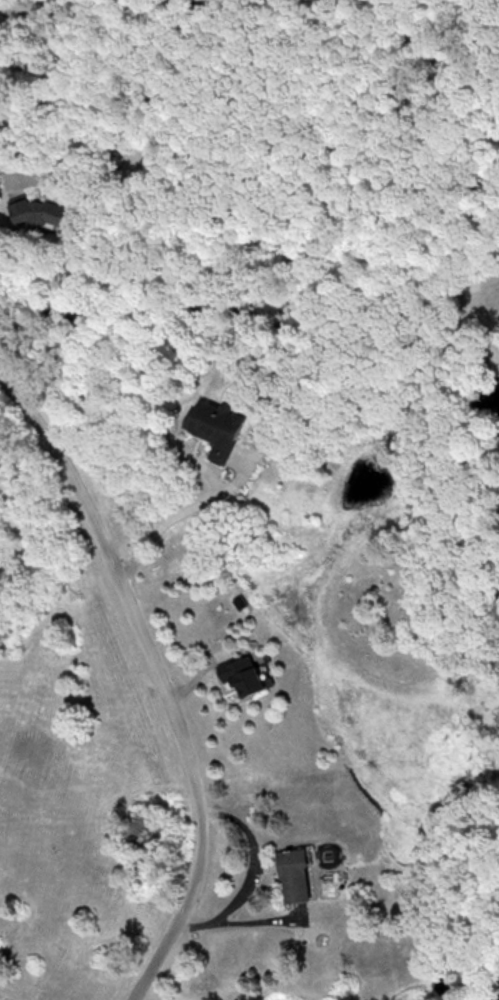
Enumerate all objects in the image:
road: (19, 6)
road: (43, 165)
building: (40, 212)
building: (217, 428)
building: (244, 674)
road: (156, 680)
building: (296, 875)

